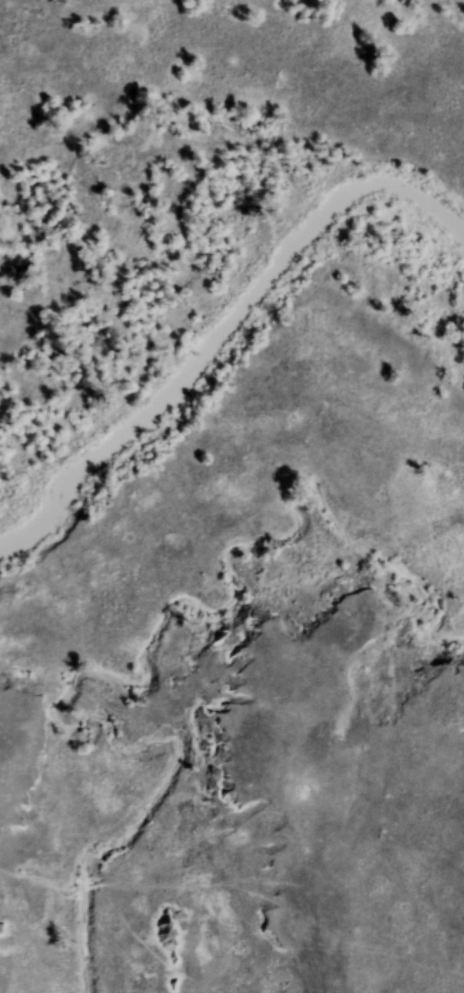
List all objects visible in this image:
river: (225, 329)

